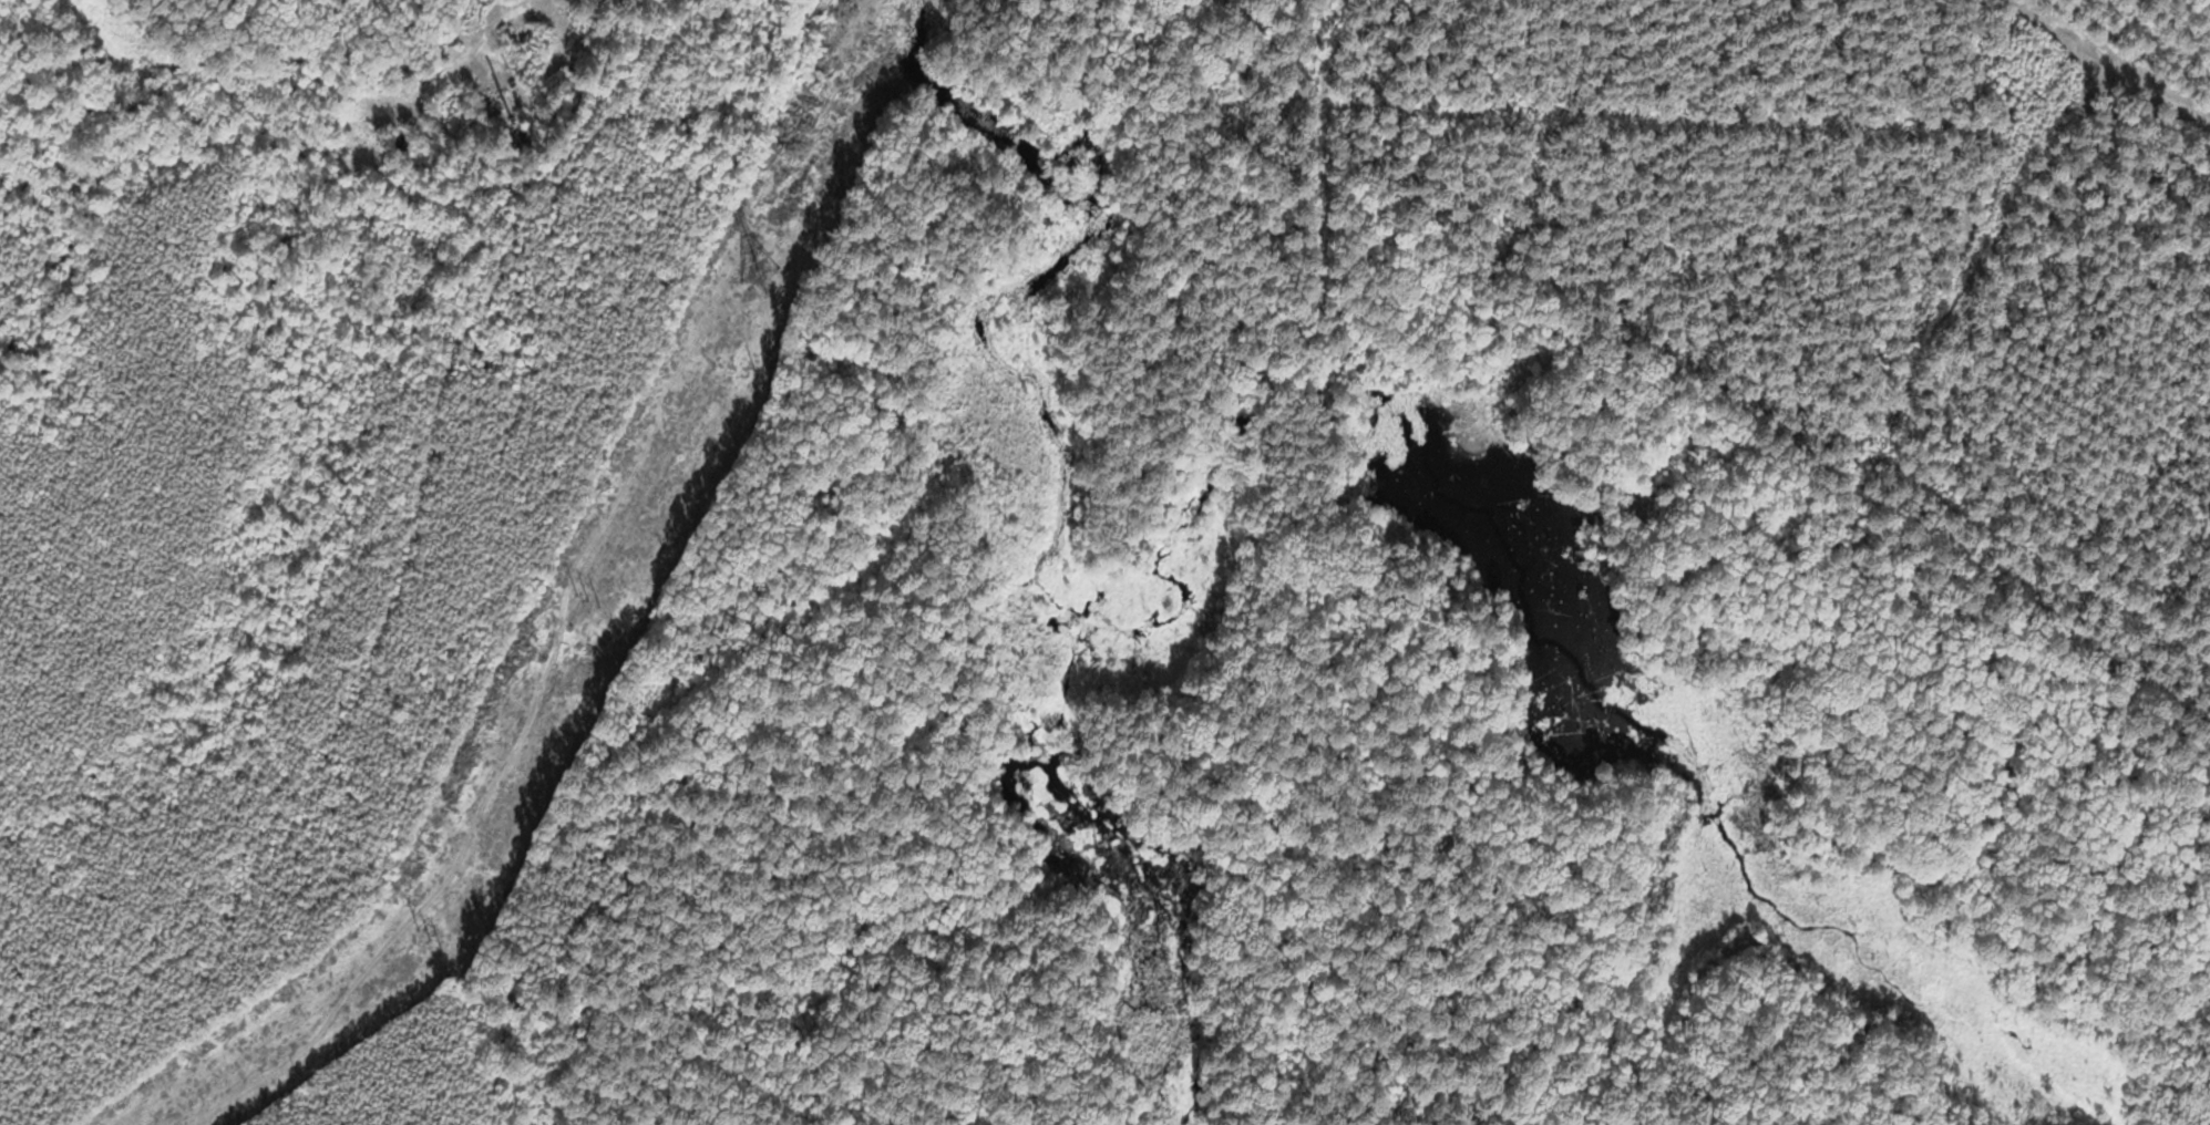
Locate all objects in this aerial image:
power tower: (765, 277)
power tower: (592, 602)
power tower: (431, 941)

